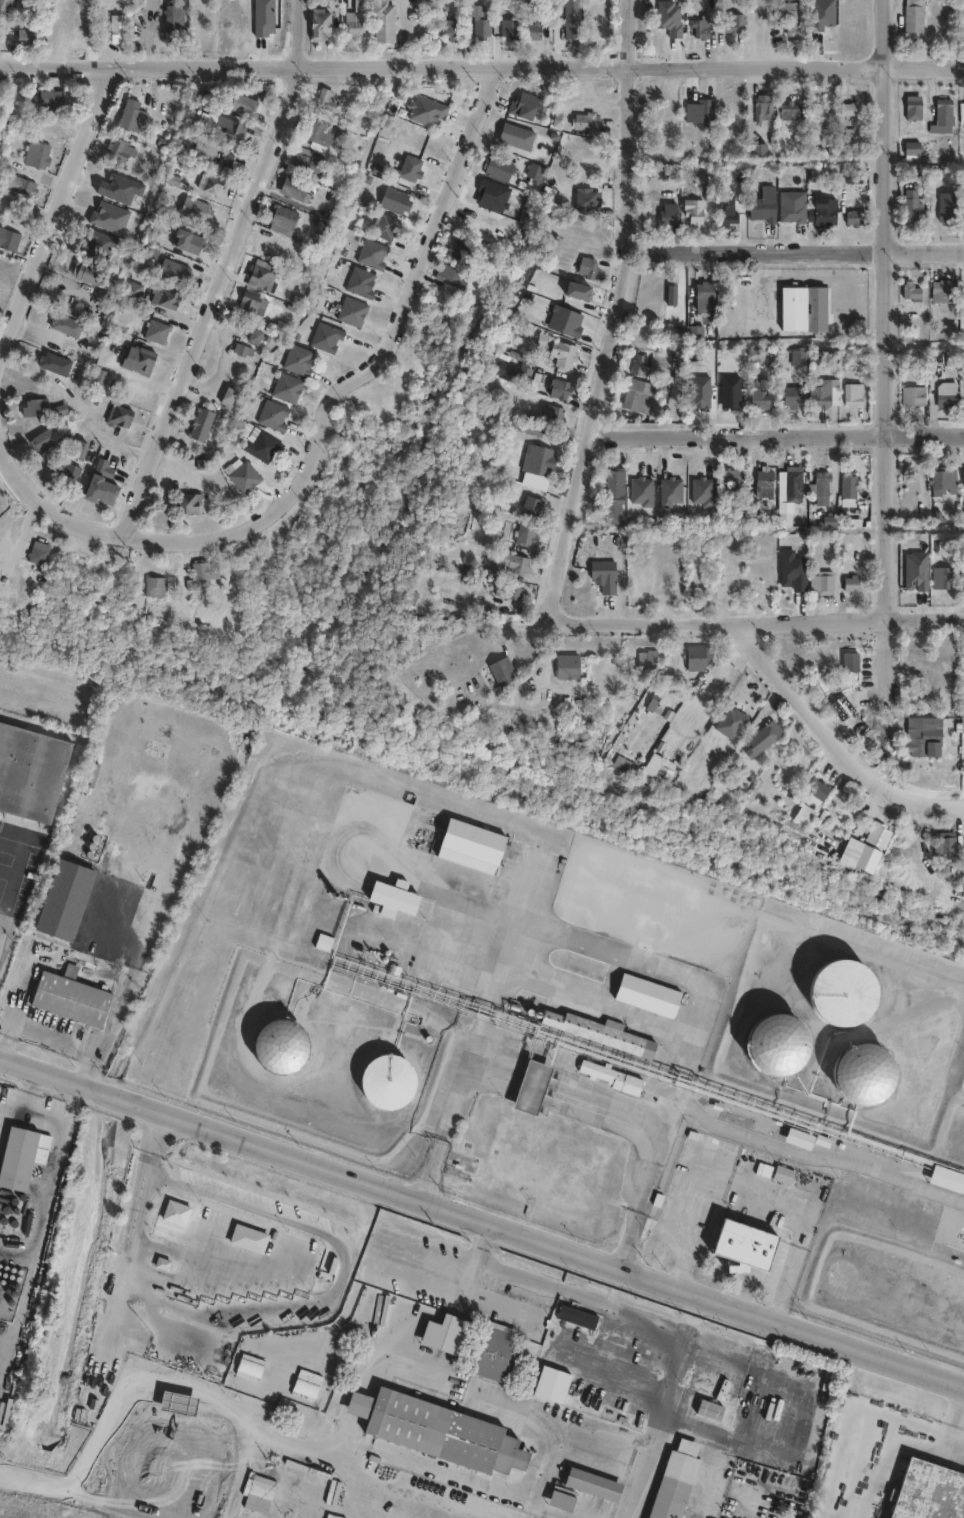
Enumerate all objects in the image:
building: (6, 5)
building: (792, 16)
building: (963, 17)
building: (669, 18)
building: (572, 19)
building: (914, 19)
building: (383, 22)
building: (480, 22)
building: (318, 25)
building: (355, 25)
building: (733, 25)
building: (172, 26)
building: (511, 27)
building: (116, 28)
building: (448, 28)
building: (536, 28)
building: (701, 29)
building: (25, 38)
road: (482, 63)
building: (50, 98)
building: (323, 100)
building: (241, 105)
building: (522, 106)
building: (914, 108)
building: (763, 109)
building: (849, 110)
building: (791, 111)
building: (962, 111)
building: (426, 112)
building: (699, 112)
building: (944, 113)
building: (130, 116)
building: (819, 116)
building: (584, 122)
building: (231, 131)
building: (319, 134)
building: (516, 137)
building: (120, 150)
building: (912, 150)
building: (36, 156)
building: (227, 162)
building: (305, 162)
building: (410, 169)
building: (498, 169)
building: (535, 174)
building: (852, 177)
building: (14, 185)
building: (208, 185)
building: (293, 190)
building: (394, 201)
building: (583, 201)
building: (763, 206)
building: (913, 206)
building: (963, 208)
building: (194, 209)
building: (728, 212)
building: (694, 213)
building: (823, 213)
building: (669, 214)
building: (792, 214)
building: (947, 215)
building: (962, 215)
road: (58, 217)
building: (108, 219)
building: (855, 219)
building: (281, 220)
building: (386, 228)
building: (8, 241)
building: (186, 242)
road: (796, 248)
building: (460, 249)
building: (372, 255)
road: (223, 268)
building: (587, 269)
building: (85, 271)
building: (173, 271)
building: (262, 275)
building: (452, 279)
building: (360, 283)
building: (575, 292)
building: (911, 293)
building: (944, 293)
building: (132, 294)
building: (671, 294)
building: (705, 298)
building: (167, 299)
building: (255, 304)
building: (295, 304)
building: (351, 312)
road: (616, 312)
building: (802, 312)
building: (66, 327)
building: (674, 333)
building: (697, 333)
building: (154, 335)
building: (256, 336)
road: (885, 337)
building: (325, 338)
building: (547, 341)
building: (243, 350)
building: (567, 356)
building: (797, 359)
building: (136, 362)
building: (298, 362)
building: (52, 364)
building: (640, 365)
road: (368, 367)
building: (529, 372)
building: (96, 381)
building: (286, 389)
building: (561, 389)
building: (732, 390)
building: (820, 396)
building: (916, 396)
building: (231, 397)
building: (852, 397)
building: (634, 398)
building: (791, 398)
building: (949, 399)
building: (758, 400)
building: (31, 411)
building: (556, 415)
building: (272, 416)
building: (116, 418)
building: (521, 425)
building: (201, 429)
road: (778, 433)
building: (41, 441)
building: (264, 448)
building: (536, 463)
building: (63, 476)
building: (243, 478)
building: (945, 479)
building: (963, 479)
building: (732, 481)
building: (767, 481)
building: (796, 484)
building: (99, 486)
building: (824, 490)
building: (850, 490)
building: (642, 493)
building: (670, 493)
building: (703, 493)
road: (48, 497)
building: (613, 501)
building: (191, 504)
building: (533, 507)
building: (524, 538)
building: (37, 557)
building: (514, 568)
building: (918, 571)
building: (202, 577)
building: (605, 579)
building: (946, 579)
building: (822, 587)
building: (851, 588)
building: (153, 589)
building: (639, 590)
building: (508, 594)
building: (407, 608)
road: (763, 619)
building: (698, 661)
building: (650, 663)
building: (852, 666)
building: (571, 671)
building: (499, 676)
building: (656, 703)
building: (732, 727)
building: (767, 734)
road: (836, 736)
building: (927, 738)
building: (558, 739)
building: (629, 767)
building: (665, 768)
building: (32, 773)
building: (820, 792)
building: (806, 815)
building: (876, 834)
building: (947, 844)
building: (470, 845)
road: (21, 851)
road: (7, 873)
road: (7, 899)
building: (389, 899)
building: (68, 900)
building: (325, 943)
building: (843, 992)
building: (650, 996)
building: (69, 999)
road: (116, 1023)
building: (604, 1033)
road: (44, 1037)
building: (778, 1042)
building: (281, 1044)
road: (93, 1072)
building: (865, 1073)
building: (615, 1077)
building: (388, 1080)
building: (534, 1087)
road: (449, 1116)
building: (798, 1140)
road: (655, 1151)
building: (746, 1161)
building: (17, 1162)
building: (782, 1175)
building: (947, 1178)
road: (743, 1194)
road: (481, 1218)
building: (246, 1245)
building: (747, 1245)
building: (161, 1263)
road: (561, 1292)
building: (908, 1296)
building: (593, 1299)
building: (577, 1322)
building: (449, 1335)
road: (110, 1345)
building: (490, 1361)
building: (551, 1391)
building: (175, 1405)
building: (712, 1416)
building: (438, 1438)
road: (886, 1441)
road: (954, 1441)
road: (622, 1443)
road: (327, 1444)
road: (311, 1450)
building: (169, 1471)
building: (676, 1484)
building: (592, 1491)
building: (929, 1492)
building: (259, 1494)
building: (562, 1498)
building: (560, 1507)

